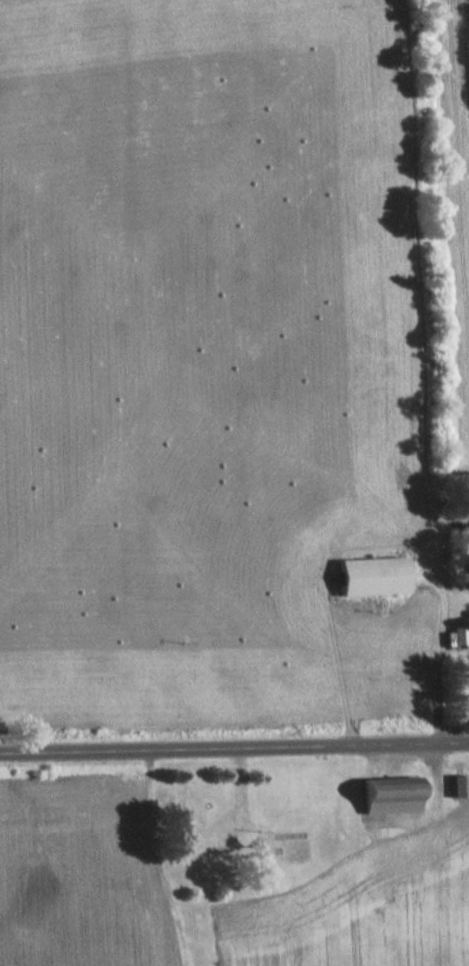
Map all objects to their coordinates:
building: (370, 577)
building: (460, 635)
road: (440, 650)
road: (234, 748)
building: (457, 785)
building: (388, 795)

